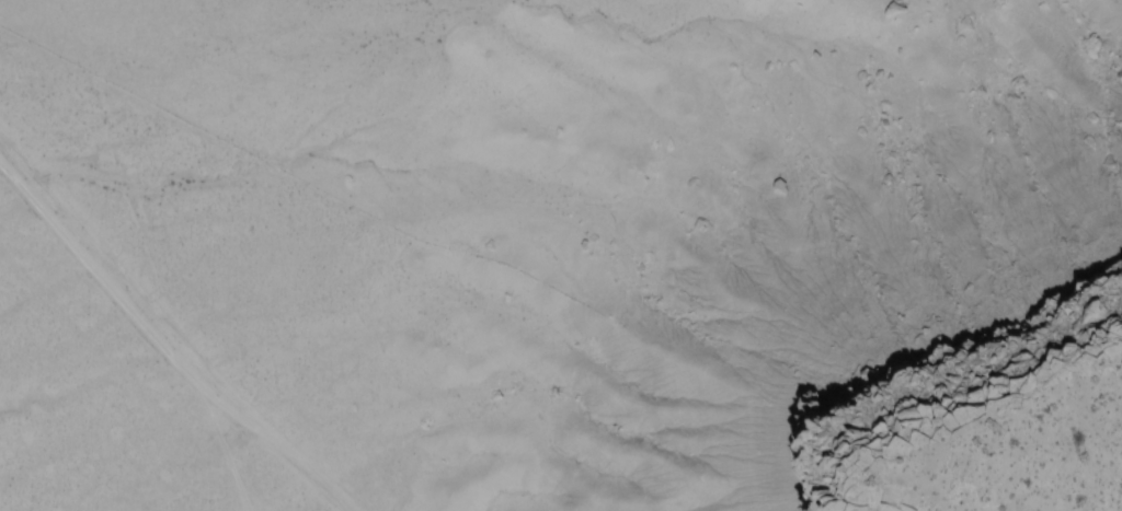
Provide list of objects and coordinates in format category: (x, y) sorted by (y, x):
road: (187, 302)

